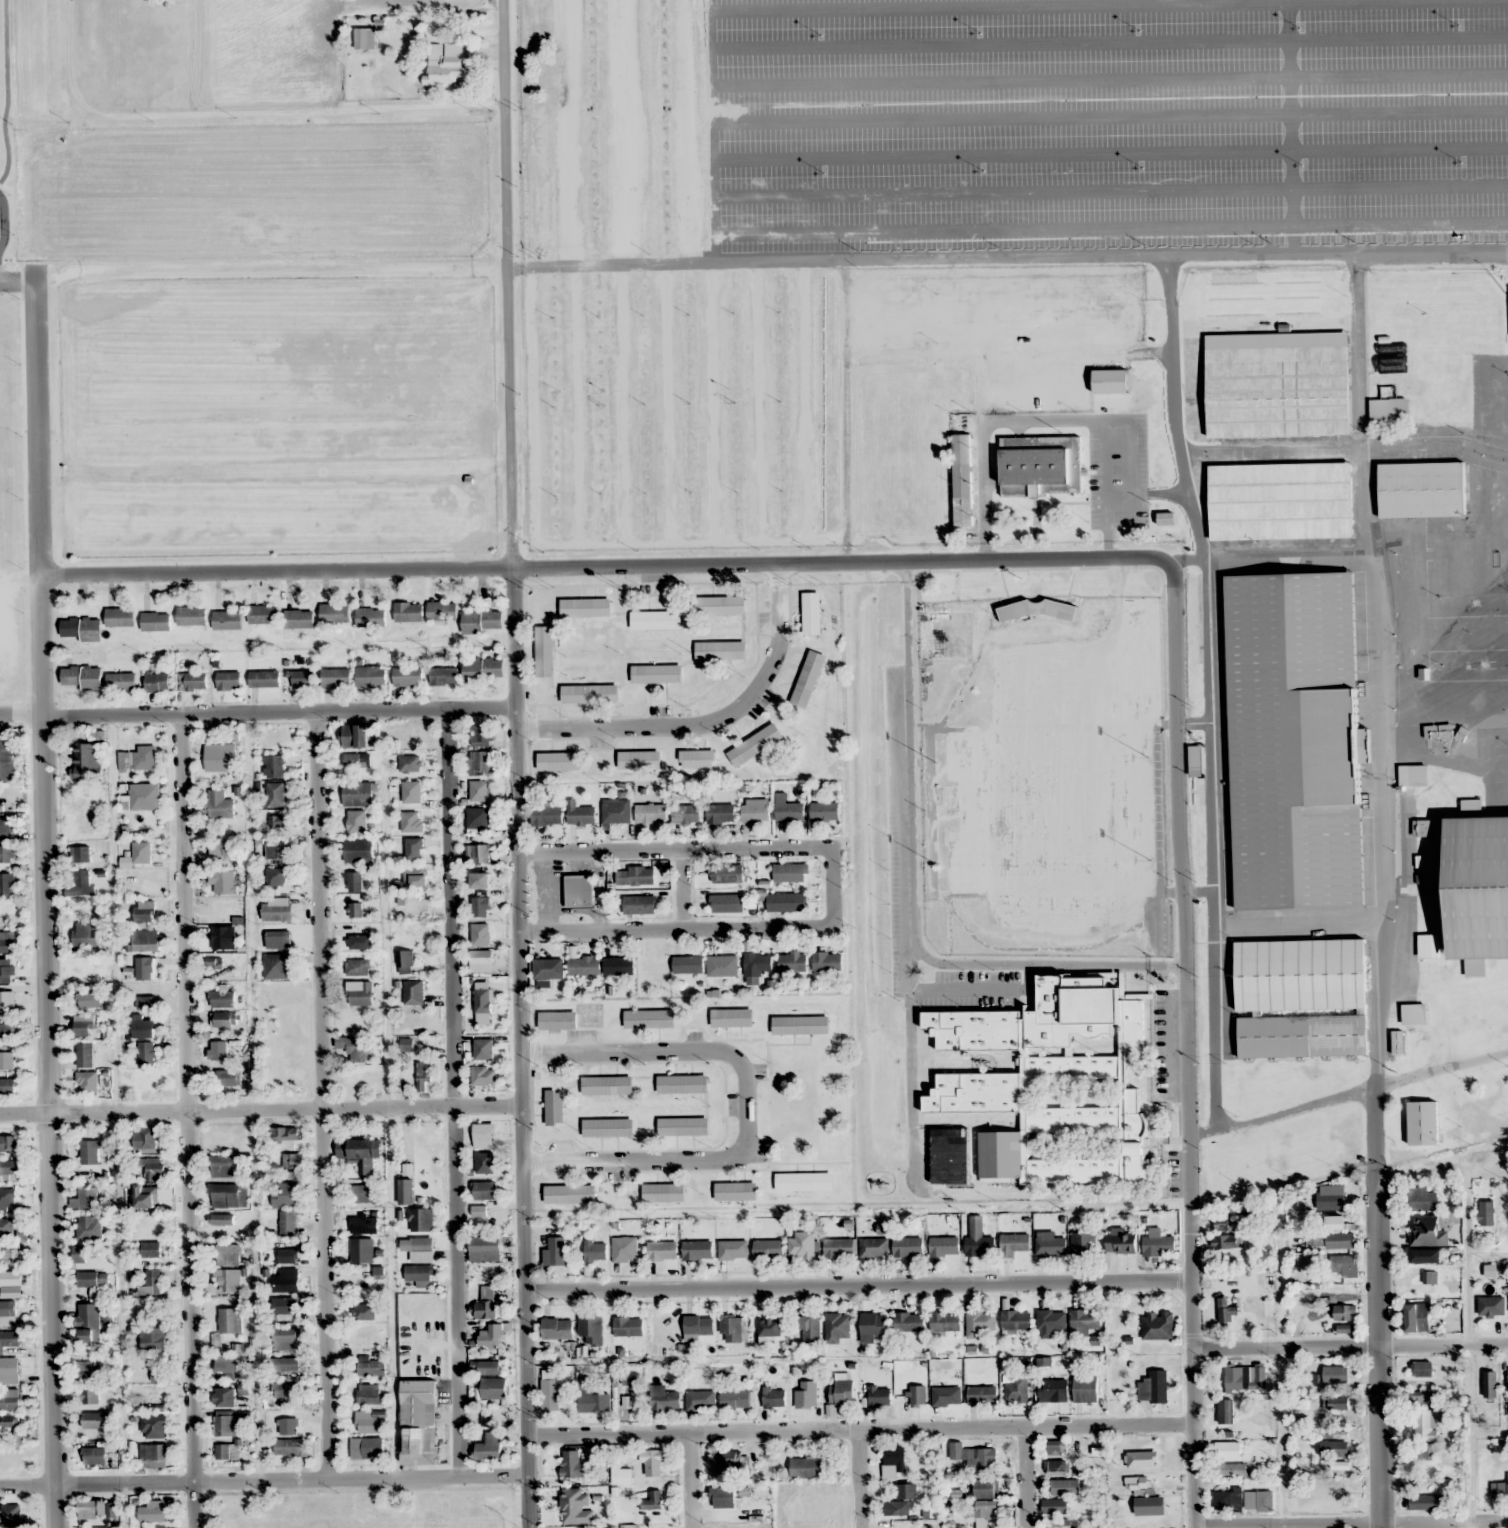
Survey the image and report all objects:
building: (392, 42)
building: (446, 64)
road: (1018, 250)
road: (44, 330)
building: (1110, 381)
building: (1278, 391)
building: (1389, 410)
building: (1041, 465)
road: (47, 471)
building: (962, 480)
building: (1421, 489)
building: (1280, 501)
building: (1166, 519)
road: (613, 569)
building: (721, 605)
building: (585, 608)
building: (442, 611)
building: (408, 612)
building: (335, 613)
building: (811, 613)
building: (263, 615)
building: (191, 616)
building: (120, 617)
building: (371, 618)
building: (299, 619)
building: (655, 619)
building: (227, 621)
building: (480, 621)
building: (155, 622)
building: (81, 629)
road: (43, 647)
building: (544, 651)
building: (720, 651)
building: (483, 670)
building: (656, 674)
building: (371, 676)
building: (444, 676)
building: (83, 677)
building: (408, 677)
building: (336, 678)
building: (808, 678)
building: (264, 679)
building: (303, 679)
building: (229, 681)
building: (121, 682)
building: (157, 682)
building: (193, 682)
road: (1209, 688)
building: (589, 694)
road: (257, 712)
road: (706, 725)
building: (481, 734)
building: (358, 736)
building: (1294, 740)
building: (754, 744)
building: (6, 755)
building: (220, 757)
building: (139, 759)
building: (696, 759)
building: (638, 760)
building: (87, 761)
building: (355, 761)
building: (557, 761)
building: (412, 762)
building: (479, 763)
road: (516, 764)
building: (274, 766)
building: (958, 785)
building: (413, 790)
building: (478, 790)
building: (276, 794)
building: (357, 794)
building: (145, 796)
building: (220, 805)
building: (790, 811)
building: (824, 811)
building: (616, 812)
building: (651, 813)
building: (685, 813)
building: (720, 813)
building: (755, 813)
building: (546, 814)
building: (580, 814)
building: (478, 818)
building: (413, 820)
building: (86, 822)
building: (278, 822)
building: (356, 822)
building: (5, 827)
building: (220, 849)
building: (149, 850)
building: (277, 850)
building: (358, 850)
building: (7, 853)
building: (477, 853)
building: (80, 854)
building: (789, 872)
building: (719, 873)
building: (414, 875)
building: (634, 875)
building: (477, 877)
building: (278, 880)
building: (354, 880)
building: (223, 881)
building: (81, 884)
building: (7, 885)
building: (1477, 886)
road: (831, 887)
building: (580, 891)
road: (681, 891)
building: (785, 901)
building: (726, 902)
building: (639, 904)
building: (480, 906)
building: (277, 909)
building: (355, 909)
building: (145, 911)
building: (483, 933)
building: (85, 934)
building: (223, 937)
building: (145, 940)
building: (360, 941)
building: (7, 942)
building: (405, 961)
building: (481, 961)
building: (792, 961)
building: (827, 961)
building: (758, 963)
building: (687, 964)
building: (618, 965)
building: (722, 965)
building: (278, 966)
building: (583, 966)
building: (358, 967)
building: (144, 968)
building: (548, 968)
building: (7, 971)
building: (413, 992)
building: (359, 993)
building: (1301, 997)
building: (477, 998)
building: (222, 999)
building: (89, 1000)
building: (144, 1002)
building: (1414, 1013)
building: (731, 1017)
building: (649, 1018)
building: (225, 1019)
building: (557, 1019)
building: (800, 1024)
building: (82, 1025)
building: (142, 1027)
building: (6, 1029)
building: (1398, 1042)
road: (1189, 1043)
building: (356, 1048)
building: (220, 1049)
building: (484, 1050)
building: (146, 1053)
building: (281, 1056)
building: (6, 1060)
building: (86, 1066)
building: (422, 1075)
building: (484, 1076)
building: (228, 1077)
building: (682, 1083)
building: (1053, 1083)
building: (607, 1084)
building: (7, 1085)
road: (1348, 1091)
road: (451, 1093)
road: (321, 1095)
road: (743, 1105)
building: (554, 1106)
road: (260, 1111)
road: (47, 1120)
road: (193, 1120)
building: (1422, 1122)
building: (682, 1126)
building: (607, 1127)
building: (484, 1133)
building: (284, 1134)
building: (145, 1140)
building: (219, 1141)
building: (8, 1142)
building: (959, 1150)
building: (90, 1152)
building: (359, 1152)
building: (291, 1161)
road: (1436, 1162)
building: (485, 1163)
building: (225, 1166)
building: (10, 1167)
building: (153, 1168)
building: (960, 1171)
building: (803, 1181)
building: (485, 1190)
building: (406, 1191)
building: (734, 1191)
building: (663, 1192)
building: (363, 1193)
building: (569, 1193)
building: (285, 1194)
building: (10, 1195)
building: (228, 1195)
building: (146, 1197)
building: (86, 1198)
building: (1331, 1198)
building: (1422, 1199)
building: (1486, 1213)
building: (422, 1219)
building: (1336, 1222)
building: (288, 1223)
building: (10, 1224)
building: (364, 1224)
building: (1228, 1224)
building: (146, 1227)
building: (89, 1228)
building: (1425, 1233)
building: (978, 1239)
building: (1120, 1241)
building: (1226, 1241)
building: (1329, 1241)
building: (1083, 1242)
building: (1158, 1243)
building: (802, 1244)
building: (1013, 1244)
building: (1052, 1244)
building: (944, 1245)
building: (838, 1247)
building: (873, 1247)
building: (909, 1247)
road: (1465, 1247)
building: (484, 1248)
building: (624, 1248)
building: (768, 1248)
building: (421, 1249)
building: (733, 1249)
building: (150, 1250)
building: (362, 1250)
building: (595, 1250)
building: (662, 1250)
building: (697, 1250)
building: (554, 1251)
building: (80, 1254)
building: (229, 1254)
building: (287, 1255)
building: (12, 1256)
building: (1426, 1256)
building: (1344, 1265)
building: (418, 1273)
building: (9, 1279)
building: (92, 1279)
building: (228, 1280)
building: (153, 1281)
building: (287, 1281)
road: (858, 1288)
building: (486, 1302)
road: (1379, 1305)
building: (285, 1306)
building: (364, 1311)
building: (1228, 1311)
building: (1345, 1312)
building: (7, 1313)
building: (1417, 1317)
building: (1015, 1319)
building: (1085, 1319)
building: (231, 1320)
building: (981, 1320)
building: (909, 1321)
building: (945, 1321)
building: (89, 1322)
building: (1050, 1322)
building: (698, 1325)
building: (1157, 1325)
building: (628, 1326)
building: (873, 1326)
building: (734, 1327)
building: (837, 1327)
building: (557, 1328)
building: (810, 1328)
building: (1347, 1328)
building: (591, 1329)
building: (491, 1335)
building: (153, 1339)
building: (287, 1339)
building: (10, 1340)
road: (1350, 1343)
building: (285, 1364)
building: (226, 1366)
building: (371, 1366)
building: (9, 1367)
building: (489, 1367)
building: (1423, 1368)
building: (1335, 1374)
building: (1245, 1377)
building: (1507, 1380)
building: (1490, 1384)
building: (1154, 1386)
building: (493, 1388)
building: (1085, 1388)
building: (1017, 1389)
building: (285, 1390)
building: (1053, 1390)
building: (841, 1392)
building: (368, 1394)
building: (550, 1394)
building: (806, 1394)
building: (917, 1395)
building: (981, 1395)
building: (879, 1396)
building: (946, 1396)
building: (89, 1397)
building: (774, 1397)
building: (224, 1398)
building: (591, 1398)
building: (664, 1398)
building: (735, 1398)
building: (10, 1400)
building: (701, 1400)
building: (1417, 1400)
building: (1337, 1402)
building: (1225, 1411)
building: (95, 1420)
building: (8, 1422)
building: (222, 1422)
building: (418, 1422)
building: (370, 1425)
building: (1425, 1425)
building: (289, 1426)
building: (153, 1427)
road: (858, 1429)
building: (288, 1447)
building: (489, 1447)
building: (1053, 1447)
building: (366, 1448)
building: (1335, 1448)
building: (956, 1450)
building: (1227, 1450)
building: (227, 1452)
building: (1422, 1452)
building: (153, 1454)
building: (94, 1455)
building: (895, 1457)
building: (982, 1457)
building: (1138, 1459)
building: (652, 1463)
building: (573, 1464)
building: (807, 1467)
building: (1057, 1467)
building: (1232, 1470)
building: (622, 1475)
road: (1023, 1476)
road: (858, 1479)
road: (262, 1480)
road: (689, 1480)
building: (1427, 1482)
building: (1139, 1484)
building: (1065, 1487)
building: (984, 1488)
building: (1499, 1490)
building: (722, 1497)
building: (653, 1500)
building: (902, 1501)
building: (1227, 1501)
building: (1258, 1501)
building: (1423, 1502)
building: (1055, 1506)
building: (1149, 1506)
building: (574, 1507)
building: (92, 1509)
building: (153, 1511)
building: (988, 1511)
building: (11, 1516)
road: (1350, 1522)
building: (1063, 1523)
building: (156, 1526)
building: (628, 1526)

